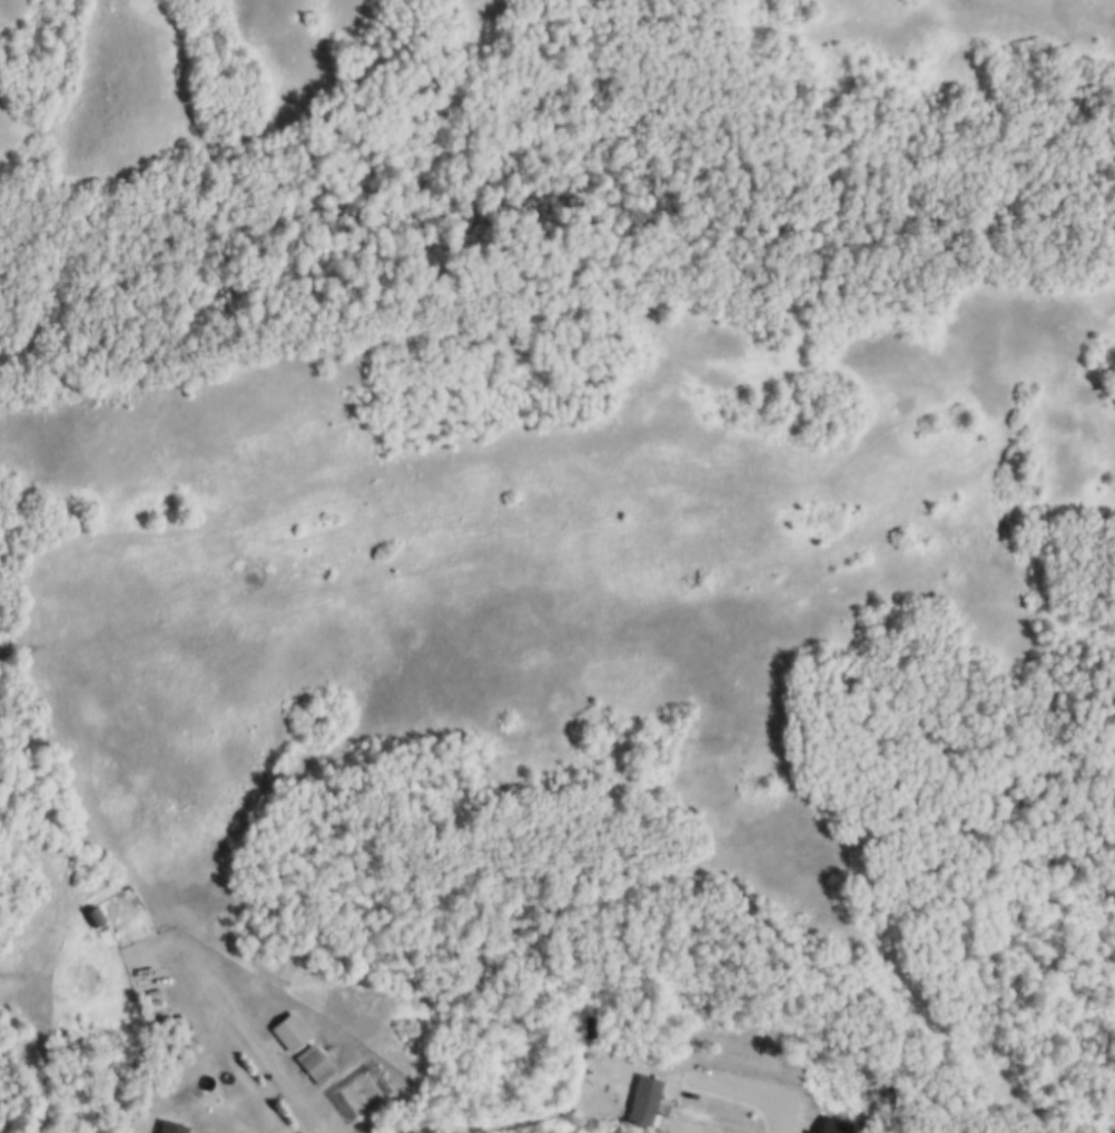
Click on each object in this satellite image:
building: (92, 913)
building: (164, 998)
building: (314, 1061)
building: (644, 1101)
building: (835, 1124)
building: (170, 1126)

